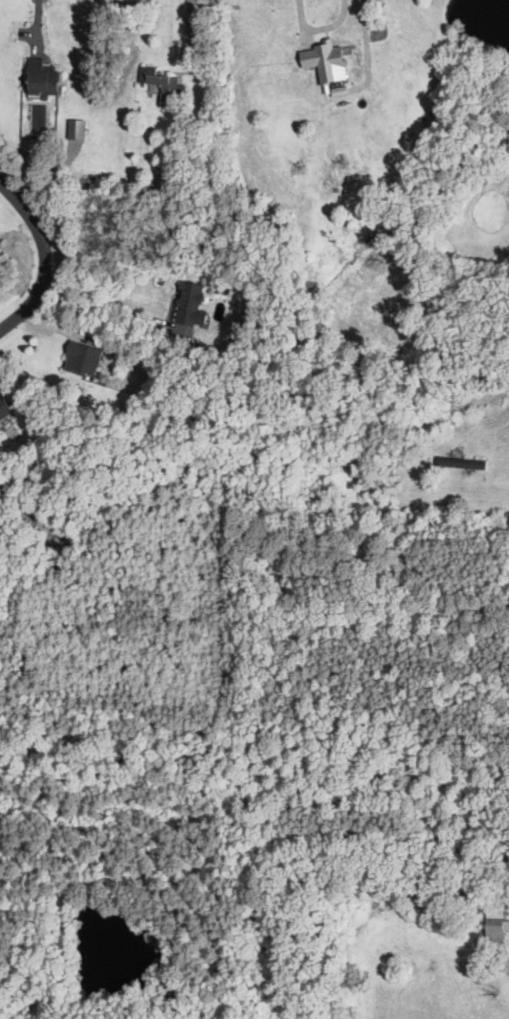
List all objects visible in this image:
building: (40, 78)
building: (163, 85)
road: (44, 259)
road: (104, 304)
building: (190, 306)
building: (81, 360)
road: (409, 389)
building: (4, 410)
building: (461, 463)
road: (498, 880)
building: (494, 925)

